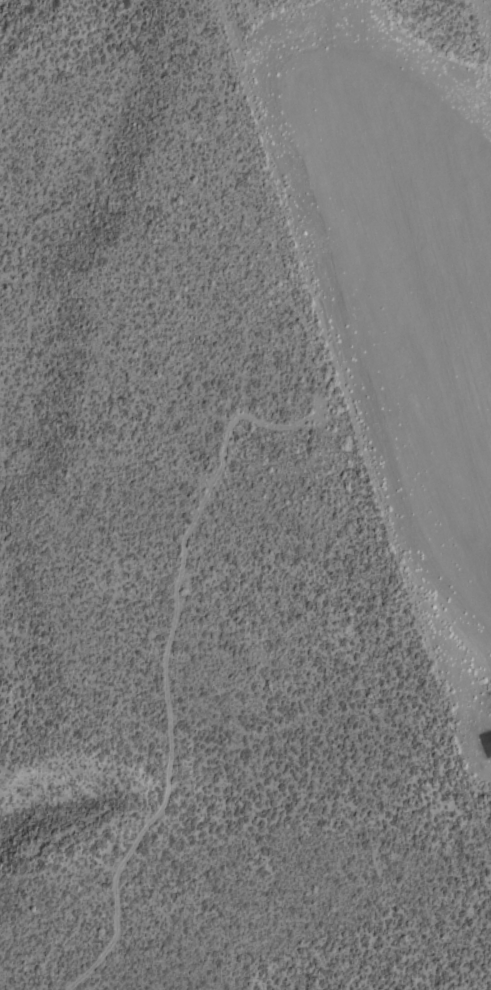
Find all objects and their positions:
airport taxiway: (488, 742)

